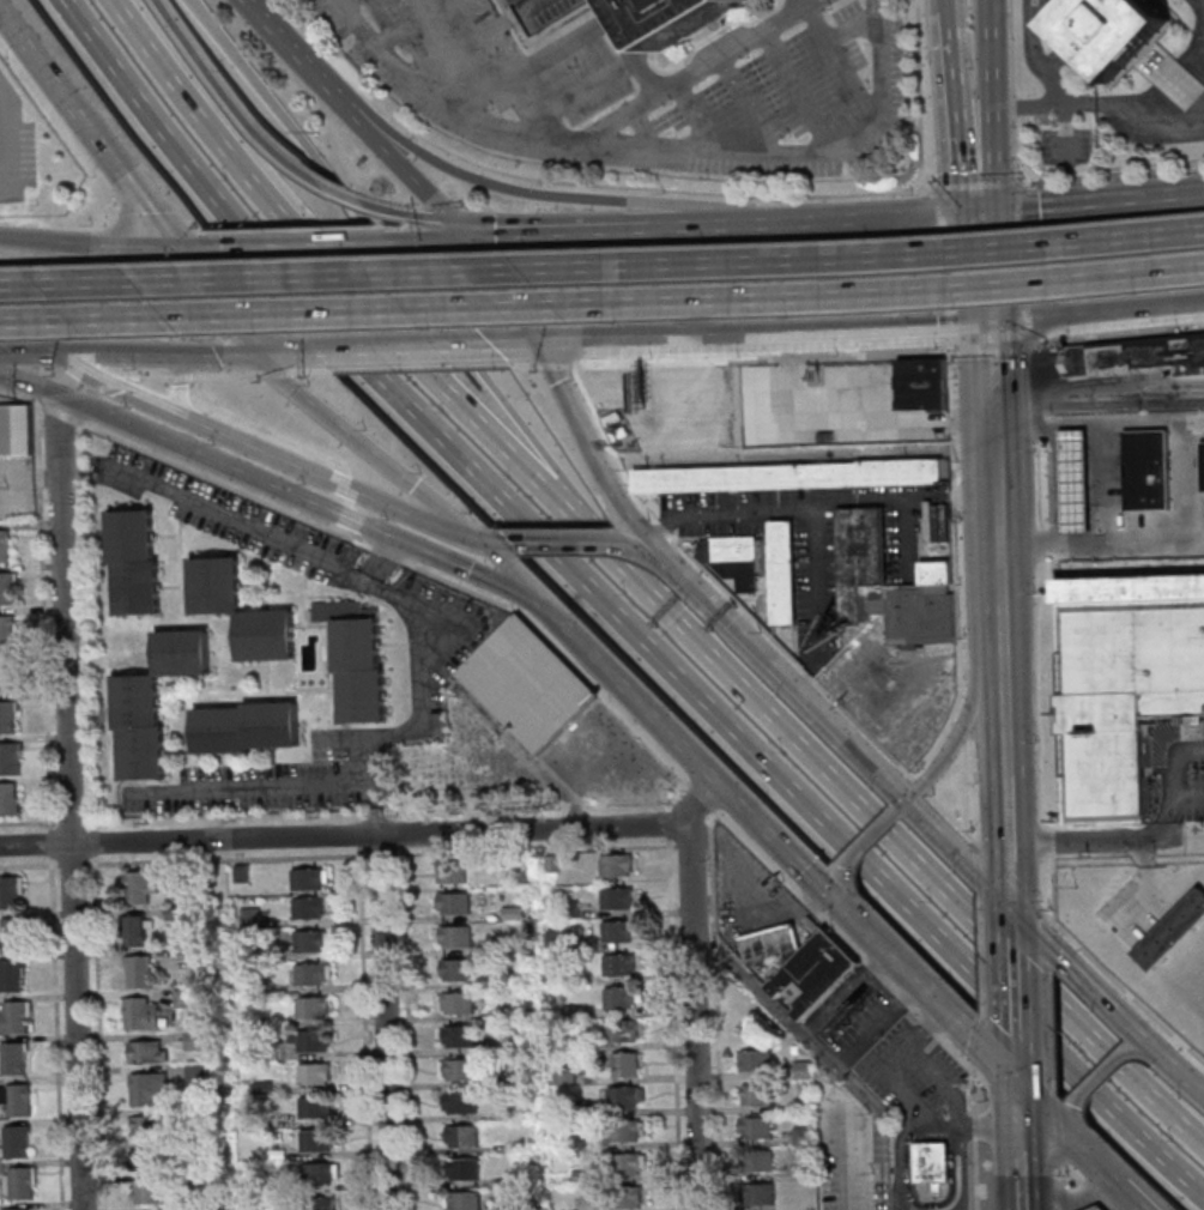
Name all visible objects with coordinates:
road: (340, 2)
road: (801, 2)
road: (823, 2)
road: (831, 4)
road: (942, 4)
building: (682, 17)
road: (302, 28)
road: (383, 38)
road: (279, 41)
building: (1126, 43)
road: (455, 52)
road: (634, 54)
road: (1193, 55)
road: (528, 65)
road: (343, 71)
road: (987, 72)
road: (688, 73)
road: (948, 77)
road: (1172, 77)
road: (1049, 80)
road: (849, 84)
road: (797, 90)
road: (1011, 91)
road: (574, 95)
road: (222, 98)
road: (1072, 103)
road: (745, 104)
road: (339, 107)
road: (271, 113)
road: (697, 116)
road: (1173, 117)
road: (202, 121)
road: (85, 129)
road: (642, 129)
road: (4, 135)
parking lot: (16, 147)
road: (165, 151)
road: (686, 151)
road: (975, 175)
road: (412, 181)
road: (924, 183)
road: (1017, 183)
road: (973, 184)
road: (524, 192)
road: (333, 193)
road: (718, 193)
road: (1137, 194)
road: (1024, 205)
road: (1017, 207)
road: (938, 210)
traffic signals: (979, 210)
road: (410, 213)
road: (867, 216)
road: (707, 225)
road: (640, 226)
road: (543, 229)
traffic signals: (462, 231)
road: (426, 238)
road: (301, 242)
road: (85, 244)
road: (192, 246)
traffic signals: (171, 247)
road: (1030, 256)
road: (984, 259)
road: (601, 266)
road: (192, 272)
road: (658, 283)
road: (500, 286)
road: (601, 303)
road: (1135, 313)
road: (988, 316)
road: (1027, 321)
road: (1028, 321)
road: (948, 323)
traffic signals: (990, 325)
road: (824, 332)
road: (1117, 337)
road: (599, 341)
traffic signals: (538, 343)
road: (513, 344)
road: (397, 346)
road: (950, 347)
road: (289, 349)
road: (991, 349)
road: (26, 353)
traffic signals: (56, 353)
road: (162, 353)
building: (1135, 355)
road: (730, 359)
road: (991, 364)
road: (413, 367)
road: (305, 371)
road: (273, 373)
road: (225, 374)
road: (470, 374)
road: (151, 376)
road: (182, 376)
road: (175, 382)
road: (113, 383)
building: (921, 383)
road: (434, 387)
road: (91, 392)
road: (17, 394)
road: (61, 395)
road: (1099, 404)
road: (993, 417)
road: (341, 428)
building: (13, 430)
road: (1035, 432)
road: (232, 437)
road: (993, 444)
road: (588, 450)
building: (1200, 466)
building: (1143, 470)
building: (791, 474)
road: (994, 479)
road: (1105, 479)
building: (1071, 482)
road: (270, 486)
road: (815, 503)
road: (240, 520)
building: (938, 521)
building: (128, 537)
road: (492, 542)
road: (562, 542)
road: (1040, 542)
traffic signals: (488, 543)
building: (2, 546)
road: (639, 546)
road: (997, 555)
building: (732, 557)
building: (860, 558)
road: (404, 563)
road: (514, 571)
building: (783, 571)
road: (956, 571)
road: (684, 583)
building: (212, 586)
building: (134, 588)
building: (5, 589)
traffic signals: (542, 600)
building: (920, 605)
building: (334, 610)
road: (42, 613)
building: (367, 613)
road: (565, 625)
building: (4, 631)
building: (264, 635)
building: (355, 645)
building: (179, 654)
building: (1136, 655)
building: (6, 674)
road: (616, 677)
road: (782, 682)
building: (524, 685)
building: (361, 696)
road: (1034, 697)
building: (134, 702)
road: (1002, 712)
building: (6, 718)
road: (961, 721)
road: (950, 722)
road: (858, 724)
building: (268, 725)
building: (218, 731)
road: (957, 733)
road: (743, 748)
road: (521, 750)
building: (140, 754)
road: (361, 755)
building: (1105, 758)
building: (7, 760)
road: (875, 775)
road: (1172, 776)
road: (918, 785)
road: (964, 787)
parking lot: (1194, 791)
building: (6, 800)
road: (68, 801)
road: (633, 803)
road: (738, 803)
road: (659, 806)
road: (949, 816)
road: (34, 822)
road: (665, 824)
road: (1006, 827)
road: (380, 831)
road: (403, 839)
road: (865, 839)
road: (358, 840)
road: (888, 840)
road: (1051, 840)
road: (1105, 841)
road: (49, 842)
road: (667, 842)
road: (35, 845)
road: (682, 845)
road: (975, 846)
road: (93, 848)
road: (536, 849)
road: (1008, 849)
road: (381, 854)
road: (182, 859)
building: (551, 865)
building: (615, 865)
road: (1144, 869)
road: (978, 871)
building: (241, 872)
building: (452, 873)
road: (1009, 876)
building: (308, 878)
road: (1010, 883)
road: (1052, 883)
road: (834, 884)
building: (175, 885)
building: (138, 887)
parking lot: (746, 890)
building: (10, 891)
building: (616, 897)
road: (1158, 899)
building: (454, 903)
building: (308, 908)
building: (568, 909)
traffic signals: (1011, 909)
building: (174, 913)
building: (512, 913)
road: (783, 916)
building: (249, 918)
road: (1011, 922)
park: (1146, 927)
building: (133, 930)
building: (617, 931)
building: (1170, 931)
building: (12, 934)
building: (455, 936)
building: (556, 939)
building: (308, 940)
building: (769, 942)
road: (1049, 942)
road: (1049, 946)
building: (488, 948)
road: (852, 948)
road: (980, 950)
building: (183, 954)
building: (618, 964)
building: (139, 970)
building: (456, 970)
building: (815, 972)
building: (310, 974)
building: (553, 974)
building: (11, 975)
road: (1012, 975)
building: (510, 980)
building: (261, 986)
road: (1120, 986)
road: (694, 991)
road: (845, 993)
road: (927, 993)
building: (187, 997)
building: (619, 998)
building: (458, 1003)
building: (854, 1003)
building: (310, 1006)
road: (715, 1010)
building: (571, 1011)
road: (779, 1011)
building: (140, 1012)
parking lot: (849, 1014)
building: (14, 1017)
road: (981, 1020)
road: (385, 1021)
road: (364, 1028)
road: (407, 1028)
road: (878, 1028)
building: (621, 1030)
road: (98, 1031)
road: (1051, 1031)
road: (55, 1033)
road: (1014, 1033)
building: (459, 1036)
building: (193, 1040)
building: (309, 1040)
road: (975, 1042)
road: (1142, 1047)
building: (268, 1051)
building: (146, 1052)
building: (12, 1059)
building: (754, 1059)
road: (970, 1064)
building: (625, 1065)
building: (459, 1069)
road: (1015, 1069)
building: (801, 1070)
parking lot: (908, 1070)
building: (194, 1073)
building: (313, 1073)
road: (1097, 1075)
building: (564, 1076)
building: (519, 1078)
road: (940, 1082)
building: (261, 1087)
traffic signals: (1016, 1088)
building: (149, 1089)
road: (970, 1090)
building: (756, 1094)
road: (909, 1095)
building: (622, 1096)
building: (16, 1099)
building: (460, 1102)
building: (803, 1105)
building: (314, 1107)
building: (581, 1108)
building: (518, 1112)
road: (1047, 1119)
road: (1023, 1121)
road: (1071, 1124)
building: (146, 1126)
road: (1057, 1126)
building: (755, 1127)
road: (973, 1127)
building: (623, 1131)
building: (461, 1135)
building: (803, 1136)
building: (315, 1139)
building: (14, 1141)
road: (1018, 1141)
building: (580, 1143)
building: (196, 1147)
building: (519, 1147)
road: (846, 1149)
building: (276, 1154)
road: (901, 1158)
building: (143, 1160)
building: (758, 1160)
building: (931, 1161)
road: (1059, 1162)
road: (1060, 1162)
building: (624, 1164)
parking lot: (853, 1164)
building: (462, 1168)
road: (1100, 1169)
road: (956, 1170)
building: (804, 1172)
building: (317, 1173)
building: (583, 1175)
road: (974, 1175)
building: (519, 1179)
building: (19, 1181)
building: (199, 1184)
road: (1061, 1186)
road: (1084, 1186)
building: (149, 1192)
building: (760, 1193)
building: (625, 1198)
road: (1130, 1199)
road: (1132, 1199)
building: (464, 1200)
road: (1022, 1203)
building: (317, 1204)
building: (521, 1205)
building: (199, 1208)
building: (1096, 1208)
building: (17, 1209)

